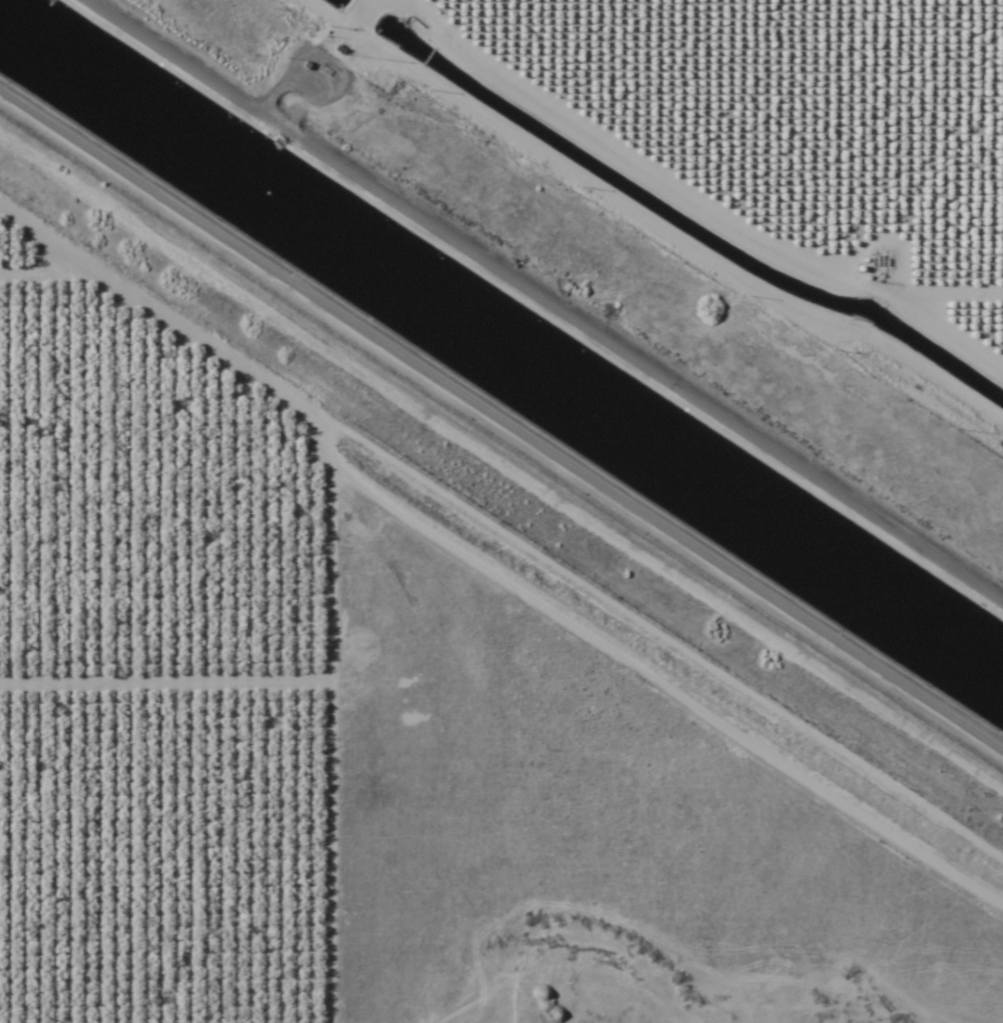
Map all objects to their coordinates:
road: (501, 423)

